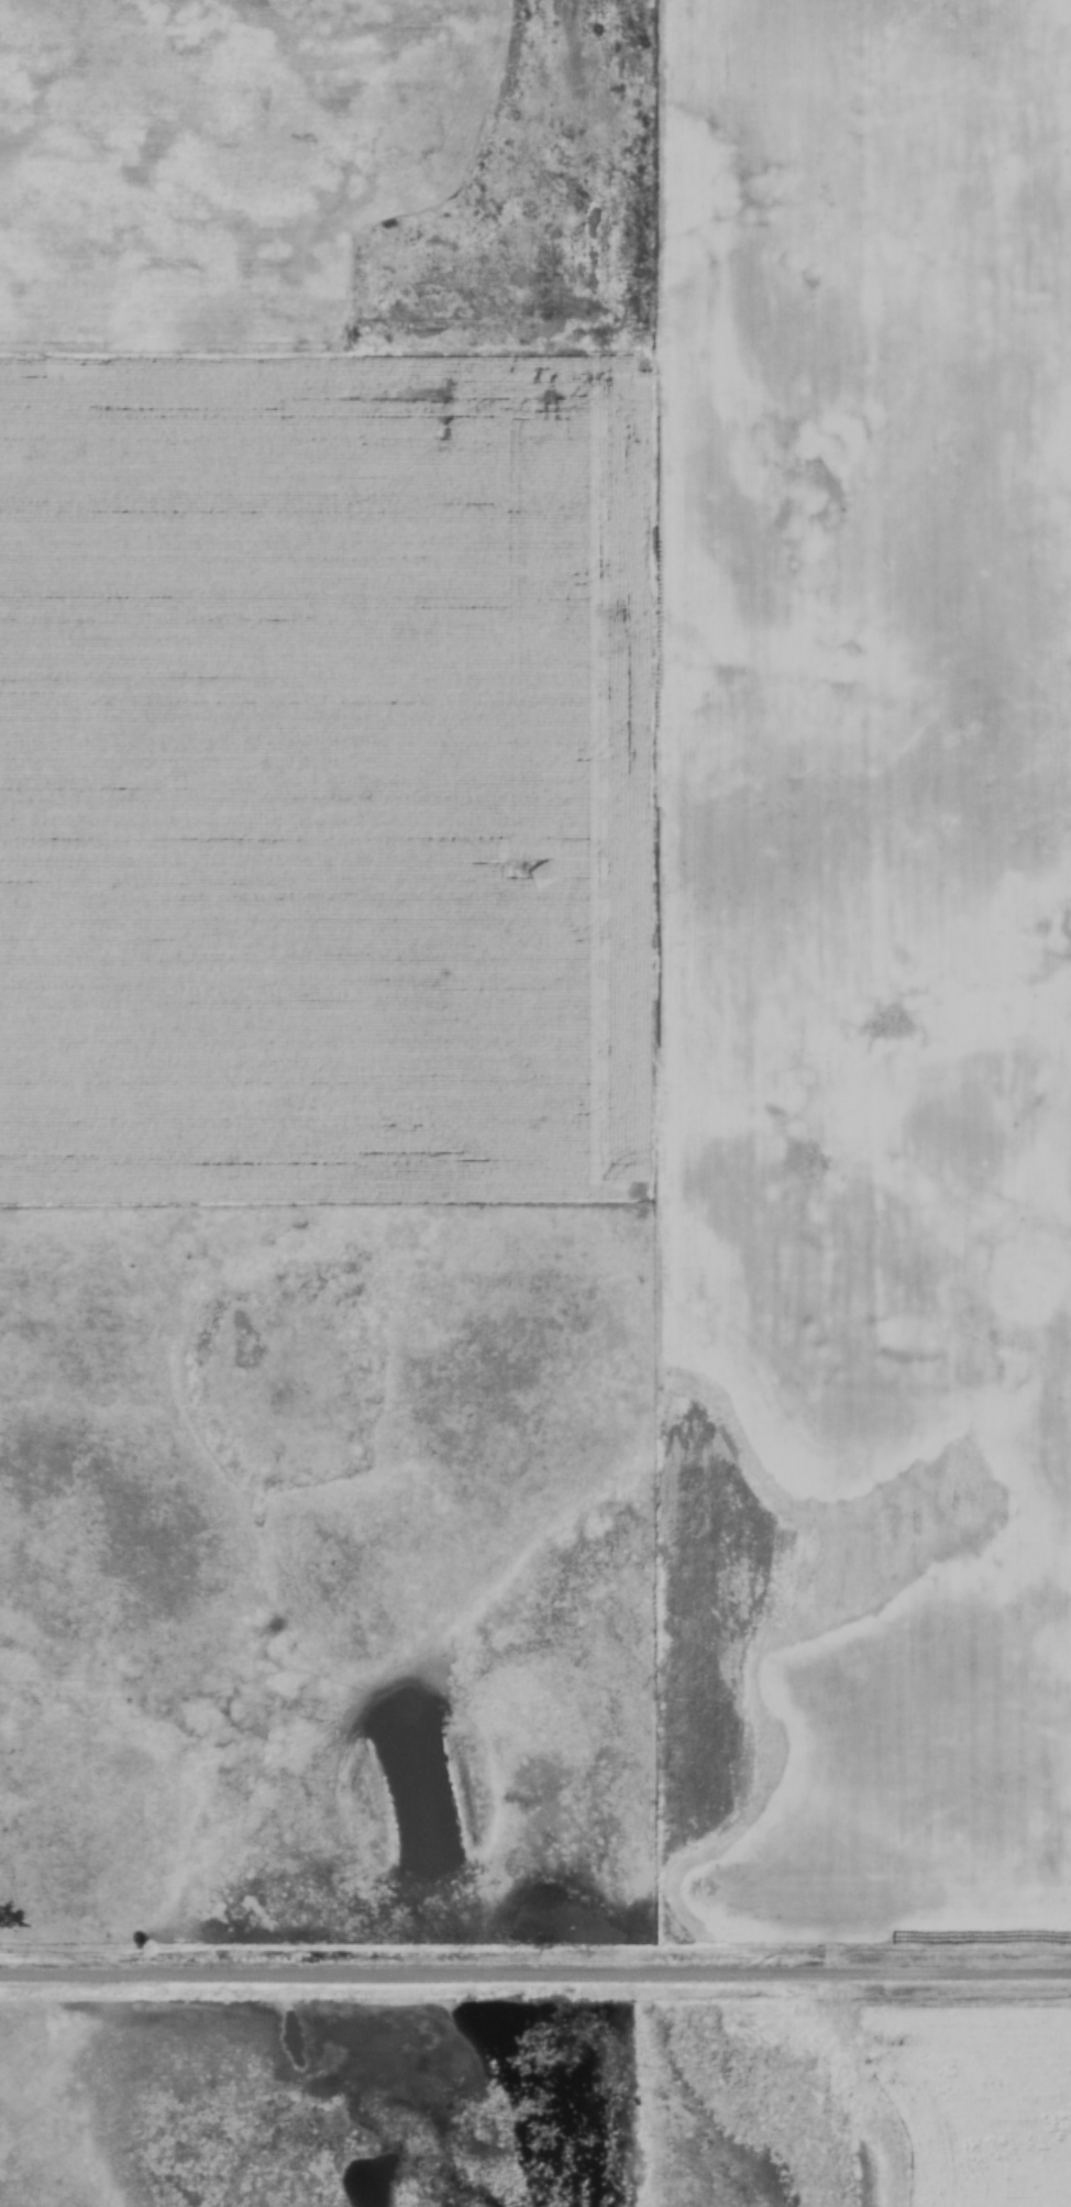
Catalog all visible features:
road: (535, 1964)

